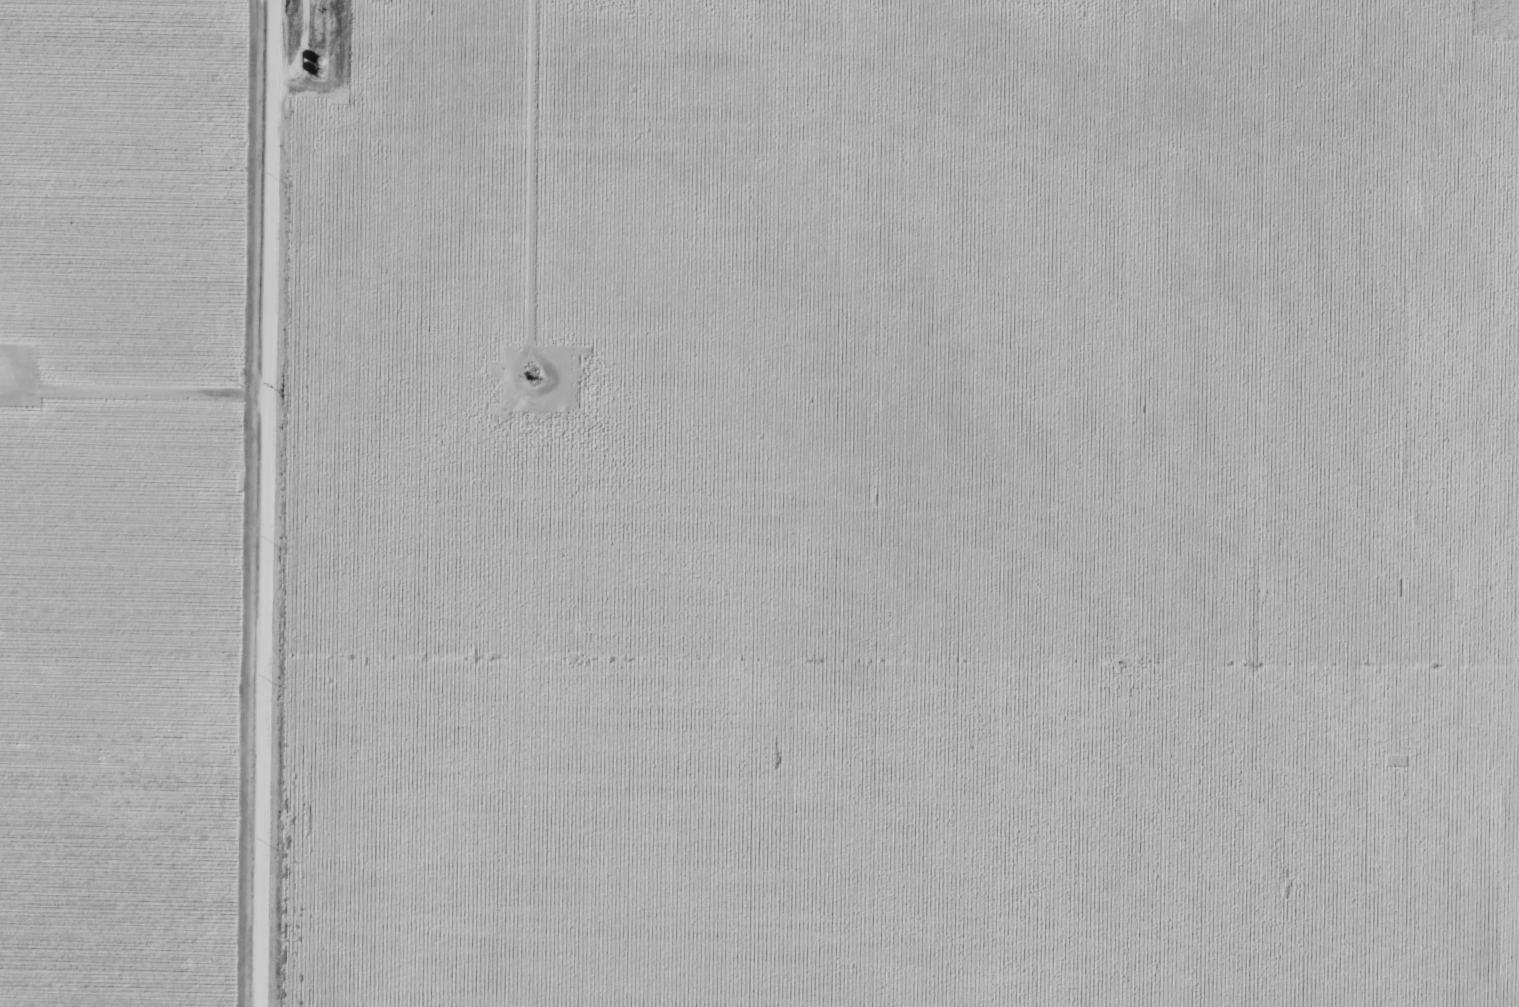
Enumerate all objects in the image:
petroleum well: (538, 383)
road: (276, 503)

